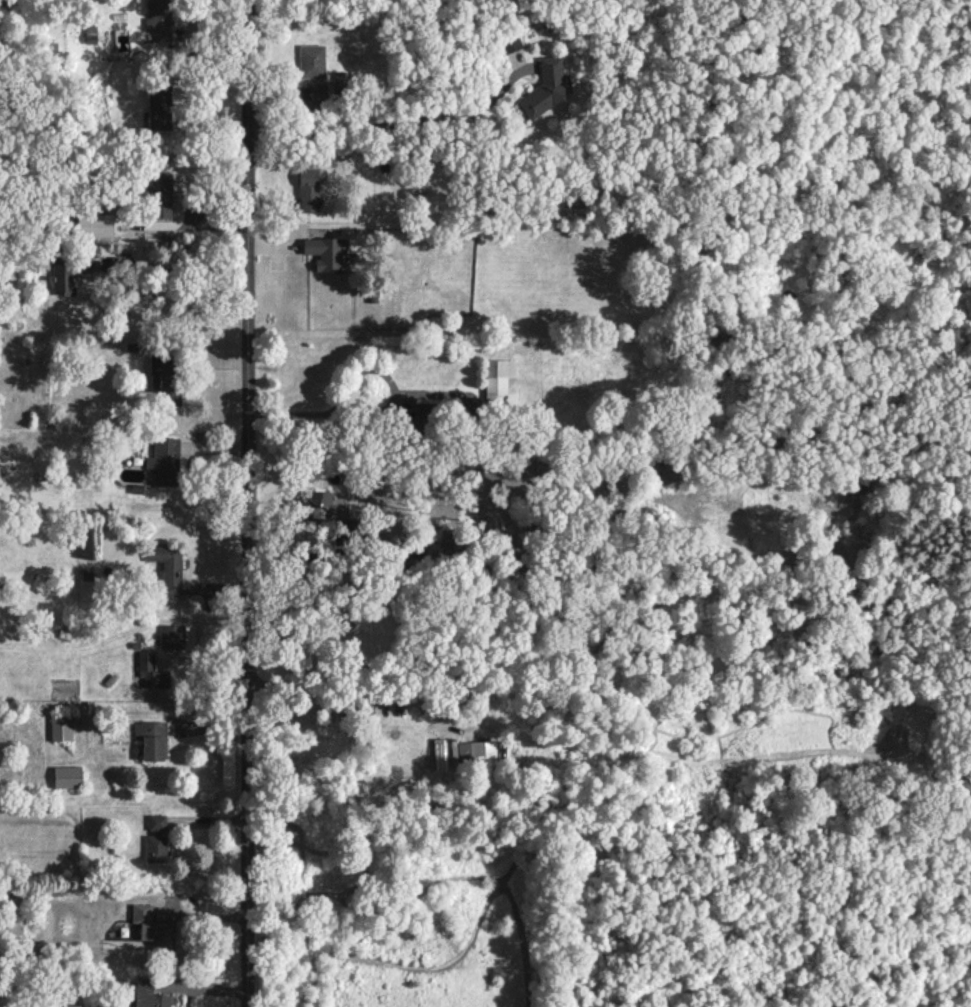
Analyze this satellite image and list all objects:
building: (158, 19)
building: (89, 34)
building: (509, 43)
building: (310, 61)
building: (341, 82)
building: (544, 87)
building: (317, 93)
building: (158, 107)
road: (390, 123)
building: (306, 189)
building: (159, 195)
building: (324, 253)
road: (181, 267)
building: (66, 272)
road: (220, 364)
building: (164, 377)
building: (499, 380)
road: (310, 412)
building: (423, 415)
road: (221, 445)
building: (163, 461)
road: (247, 503)
building: (166, 567)
road: (222, 587)
building: (171, 636)
road: (215, 657)
building: (150, 671)
road: (352, 686)
building: (60, 726)
road: (215, 728)
building: (150, 739)
building: (476, 753)
building: (66, 776)
road: (213, 821)
building: (155, 839)
road: (206, 917)
building: (152, 931)
road: (209, 986)
building: (151, 999)
building: (62, 1005)

